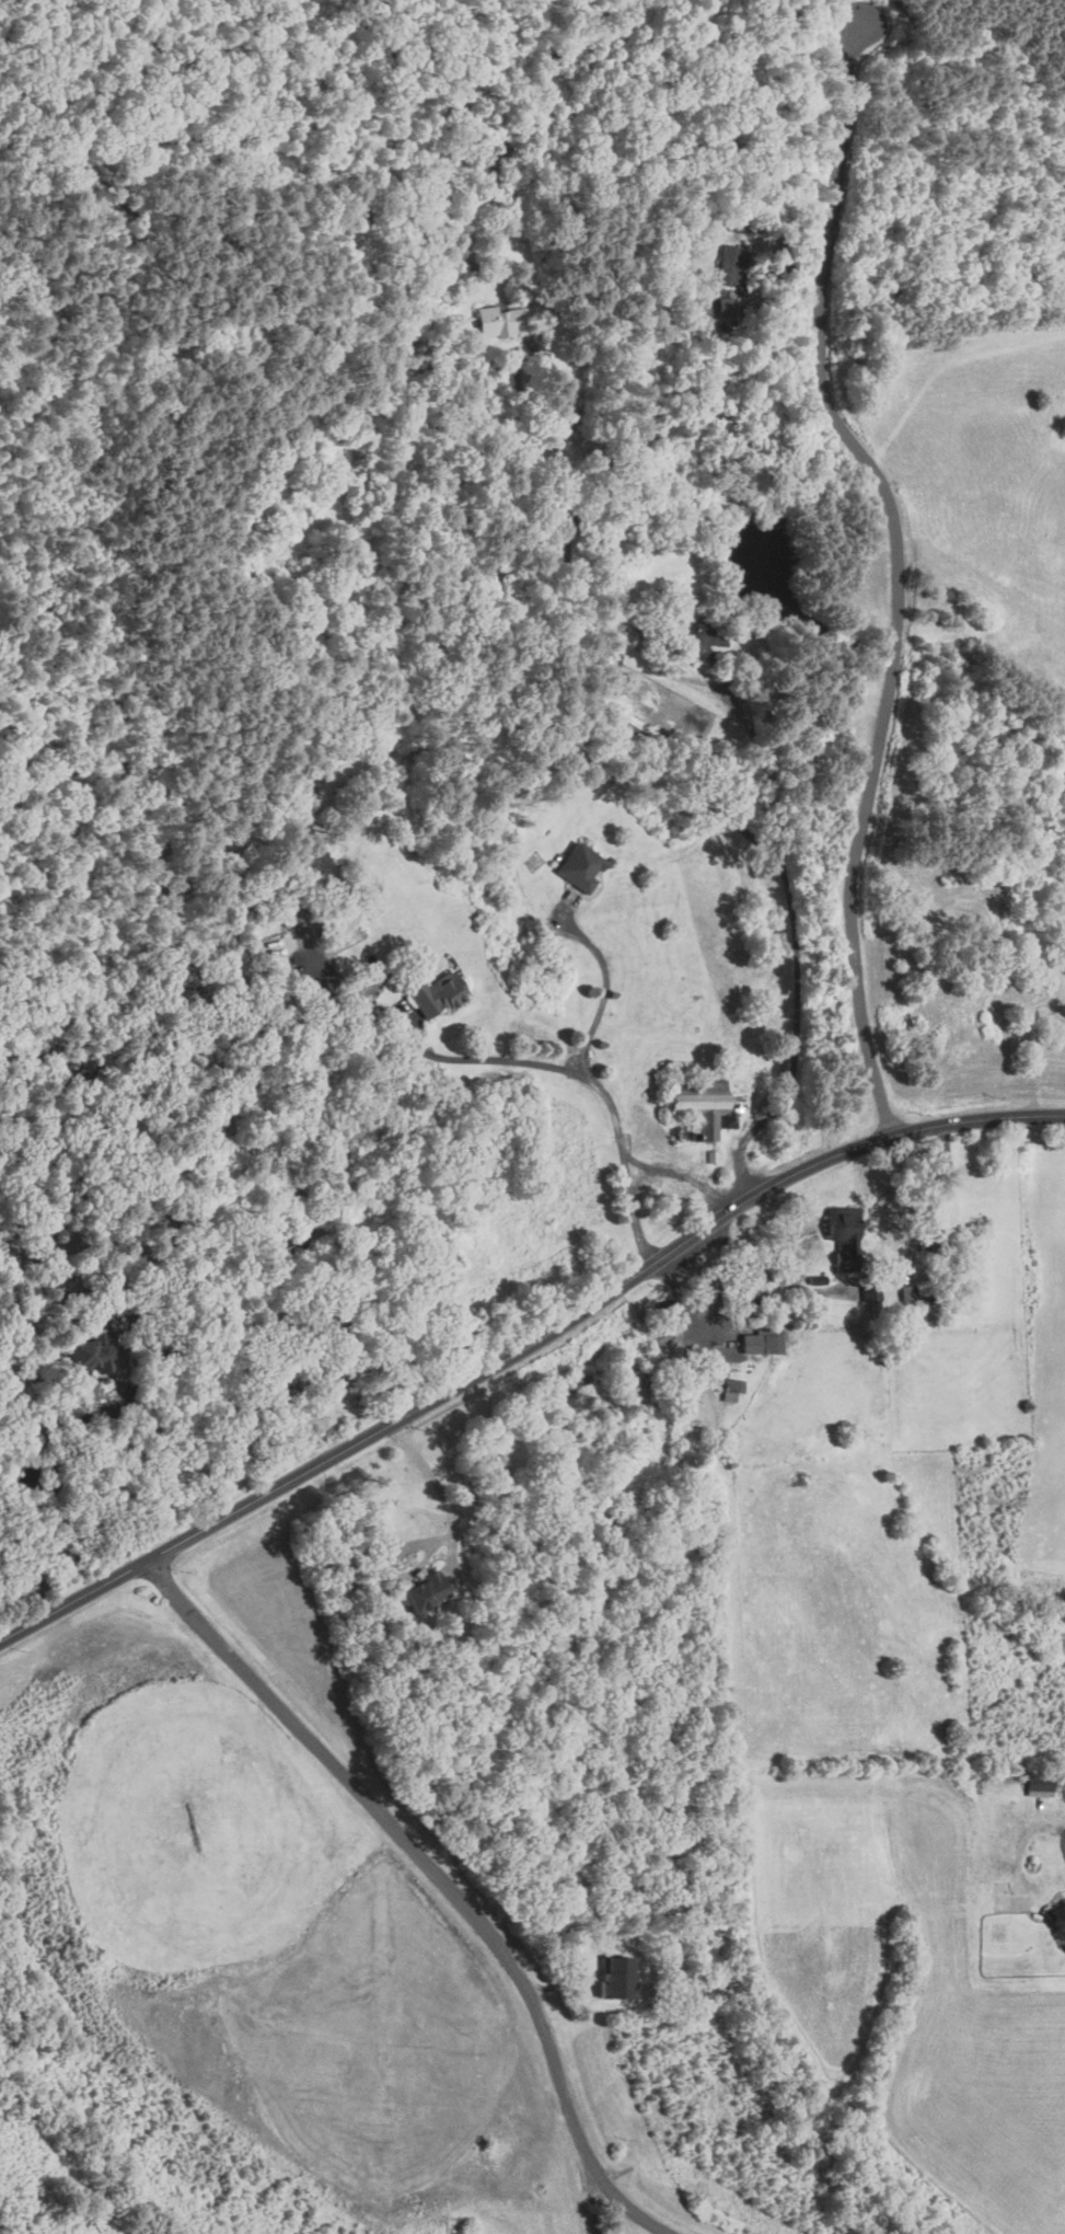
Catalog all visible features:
building: (726, 266)
building: (497, 321)
road: (900, 579)
building: (703, 645)
road: (635, 730)
building: (575, 867)
building: (432, 994)
road: (486, 1060)
road: (598, 1086)
building: (698, 1106)
road: (679, 1176)
building: (835, 1228)
road: (774, 1276)
building: (759, 1341)
road: (522, 1345)
building: (83, 1354)
building: (729, 1389)
road: (143, 1446)
road: (218, 1453)
road: (444, 1540)
building: (418, 1591)
road: (79, 1625)
road: (116, 1625)
parking lot: (116, 1632)
building: (1035, 1786)
road: (1063, 1844)
road: (444, 1878)
building: (1055, 1918)
building: (612, 1977)
road: (589, 2186)

